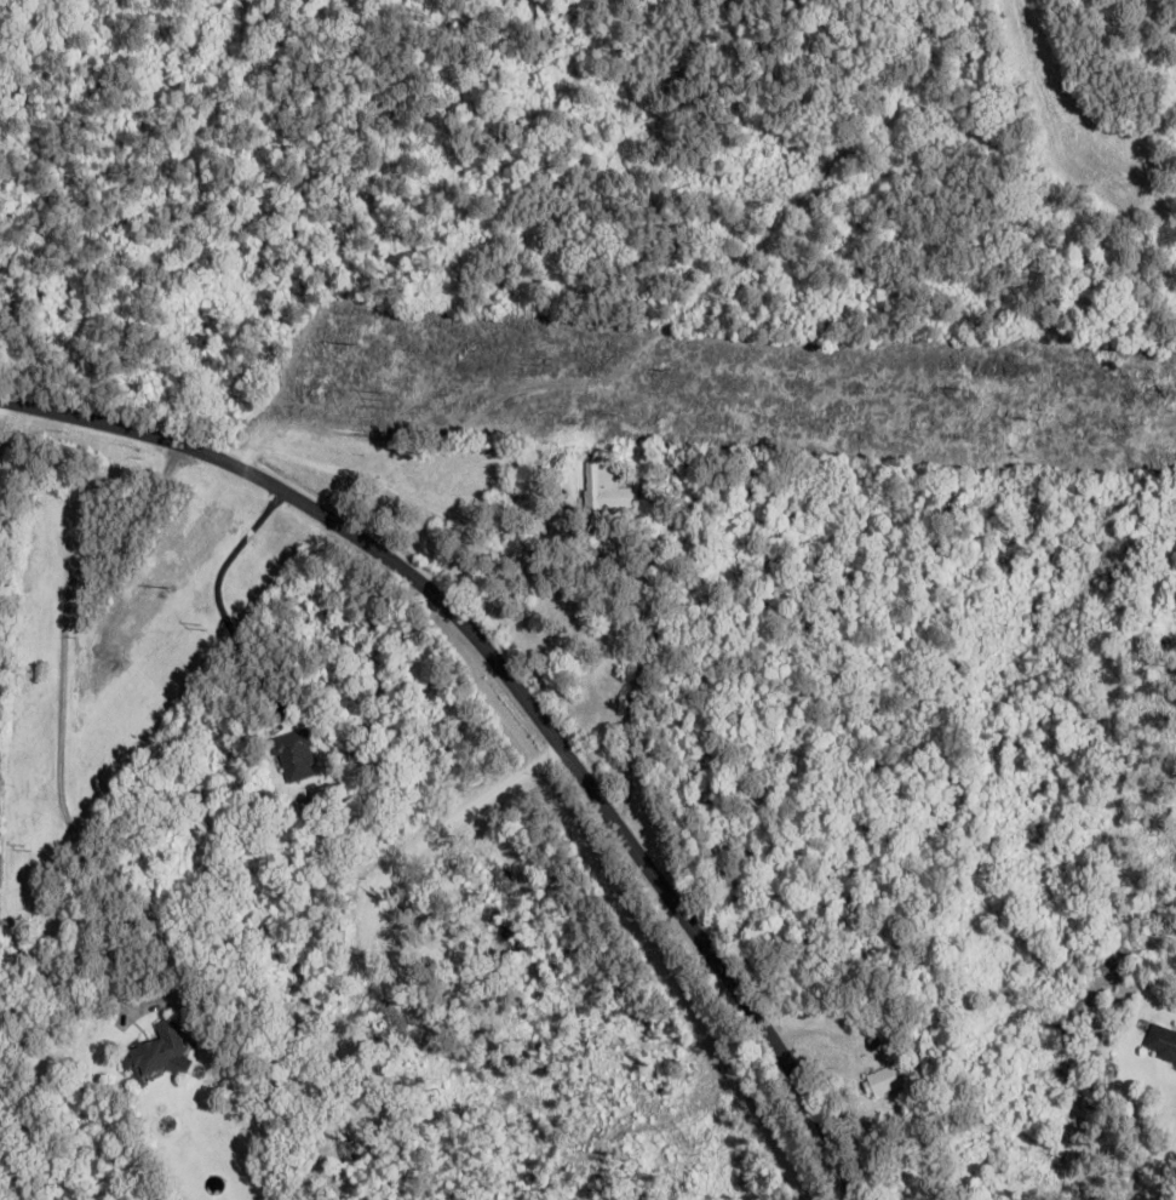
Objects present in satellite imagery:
building: (609, 487)
road: (520, 691)
road: (62, 703)
building: (1161, 1042)
building: (157, 1056)
building: (888, 1079)
road: (1164, 1171)

